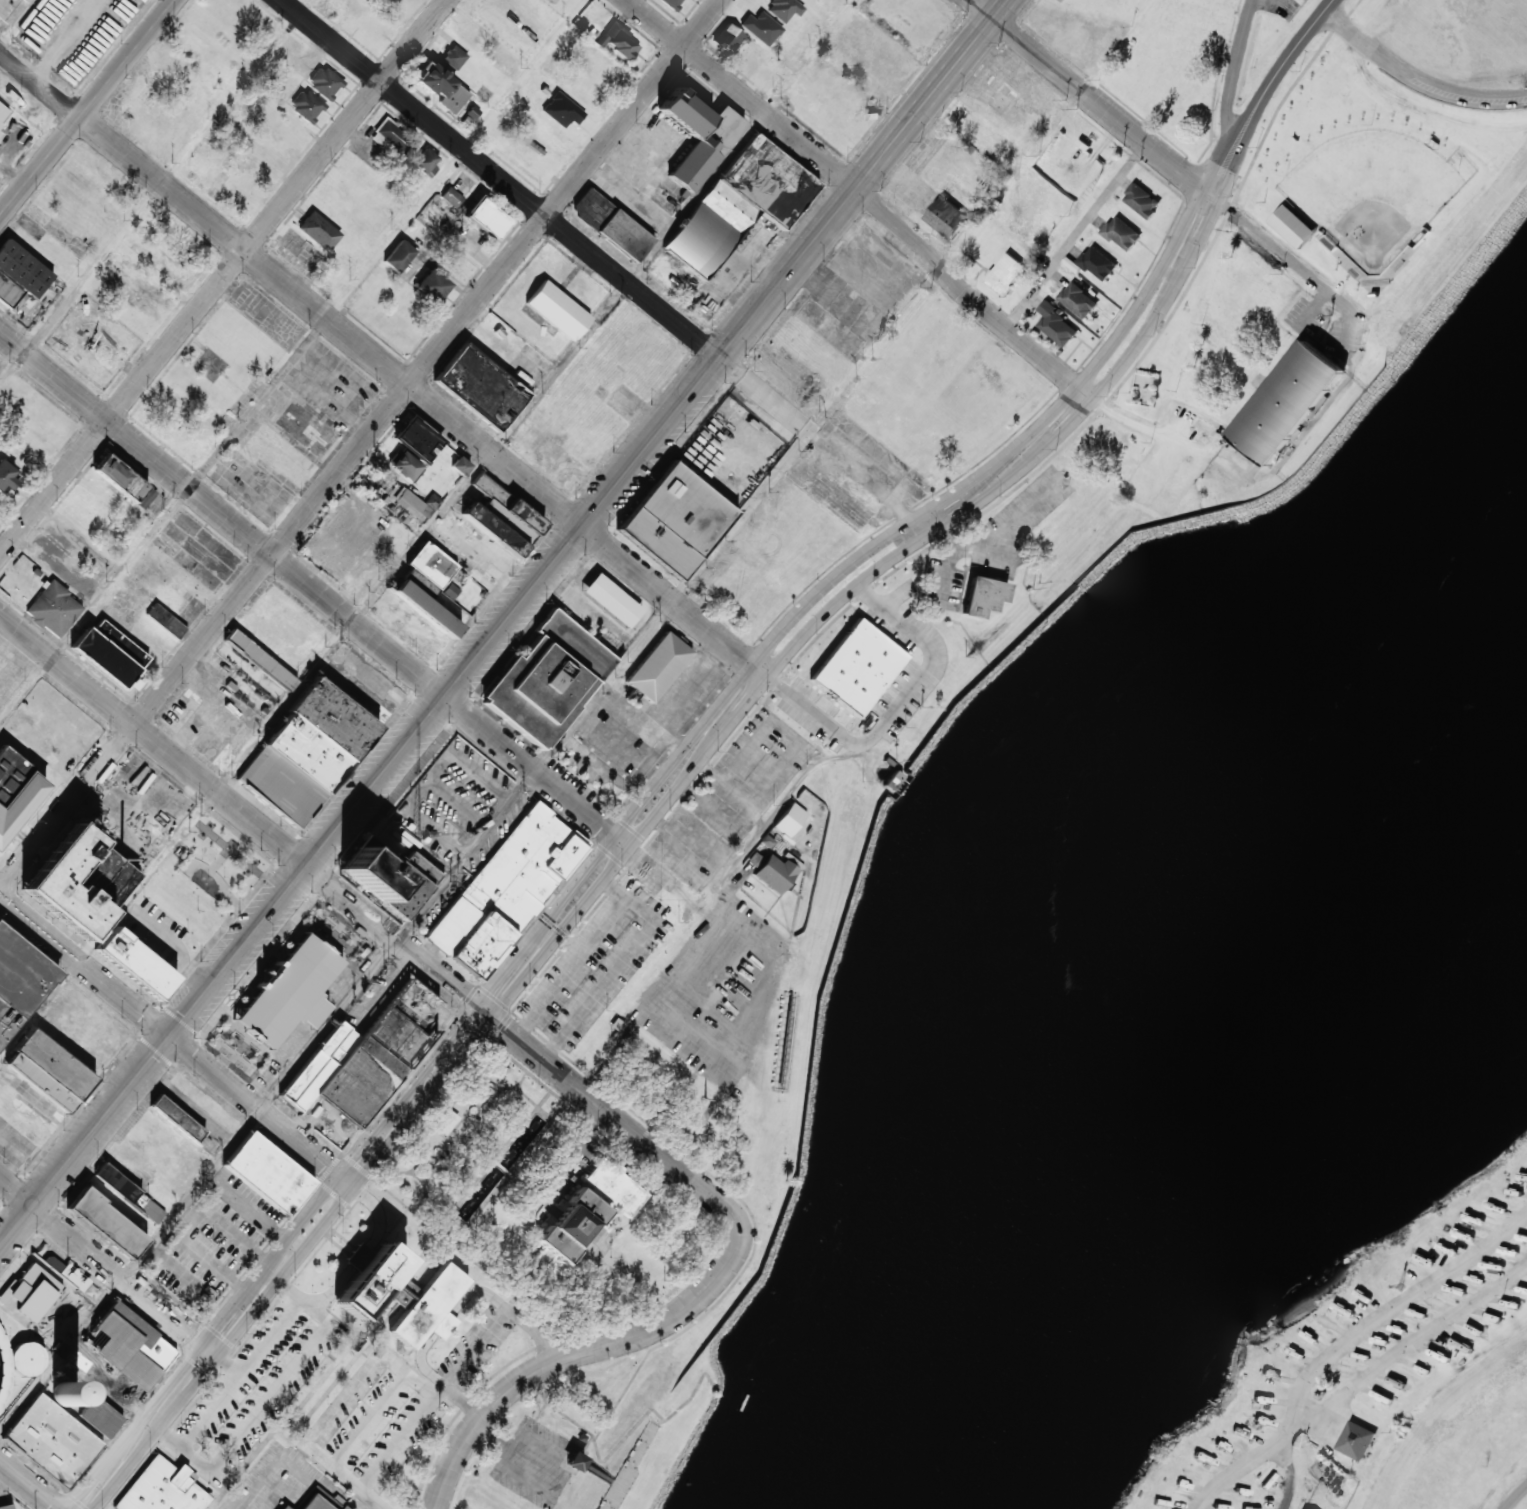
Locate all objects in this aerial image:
building: (551, 1)
building: (672, 3)
building: (11, 9)
road: (19, 24)
building: (728, 37)
building: (617, 40)
road: (1290, 55)
building: (454, 57)
road: (1237, 72)
road: (1417, 77)
building: (324, 83)
building: (441, 87)
road: (933, 94)
building: (307, 106)
road: (86, 107)
building: (562, 111)
building: (3, 113)
building: (0, 133)
building: (697, 138)
road: (1223, 146)
road: (1164, 153)
road: (1237, 156)
building: (426, 163)
road: (863, 194)
building: (451, 197)
building: (1141, 201)
building: (739, 205)
building: (947, 217)
road: (547, 219)
building: (487, 220)
building: (611, 225)
building: (1292, 226)
building: (318, 231)
building: (1122, 233)
building: (739, 243)
building: (398, 256)
building: (1098, 263)
building: (19, 274)
building: (1005, 274)
road: (223, 276)
building: (431, 286)
building: (1079, 300)
building: (557, 311)
building: (1057, 325)
road: (292, 360)
building: (480, 387)
road: (414, 392)
building: (1285, 402)
building: (417, 440)
road: (360, 445)
building: (404, 465)
building: (460, 466)
building: (6, 477)
building: (119, 478)
building: (146, 499)
building: (432, 501)
building: (411, 504)
building: (502, 518)
building: (674, 521)
road: (428, 529)
road: (916, 530)
building: (431, 565)
road: (313, 590)
building: (983, 597)
building: (611, 601)
building: (425, 609)
building: (53, 610)
building: (165, 621)
building: (109, 654)
building: (260, 660)
building: (658, 667)
building: (857, 668)
building: (547, 680)
road: (428, 714)
building: (306, 753)
building: (15, 791)
road: (668, 794)
building: (788, 820)
road: (616, 825)
building: (774, 874)
building: (390, 877)
building: (78, 882)
building: (504, 887)
road: (358, 909)
building: (135, 963)
building: (19, 981)
building: (289, 992)
road: (174, 1042)
building: (367, 1057)
building: (48, 1071)
building: (176, 1118)
building: (446, 1122)
building: (268, 1174)
building: (129, 1193)
building: (590, 1208)
building: (106, 1224)
road: (108, 1267)
road: (355, 1267)
road: (129, 1271)
building: (68, 1274)
building: (30, 1293)
building: (400, 1294)
road: (465, 1298)
road: (1397, 1312)
road: (592, 1348)
road: (1414, 1350)
road: (262, 1351)
building: (26, 1359)
road: (281, 1385)
road: (350, 1391)
building: (64, 1395)
building: (1355, 1440)
building: (52, 1441)
road: (181, 1454)
building: (575, 1462)
road: (1257, 1464)
road: (276, 1465)
road: (1299, 1468)
road: (123, 1471)
road: (29, 1484)
building: (162, 1489)
road: (1516, 1497)
building: (314, 1503)
road: (1209, 1505)
building: (6, 1507)
building: (283, 1507)
building: (342, 1507)
building: (1301, 1508)

